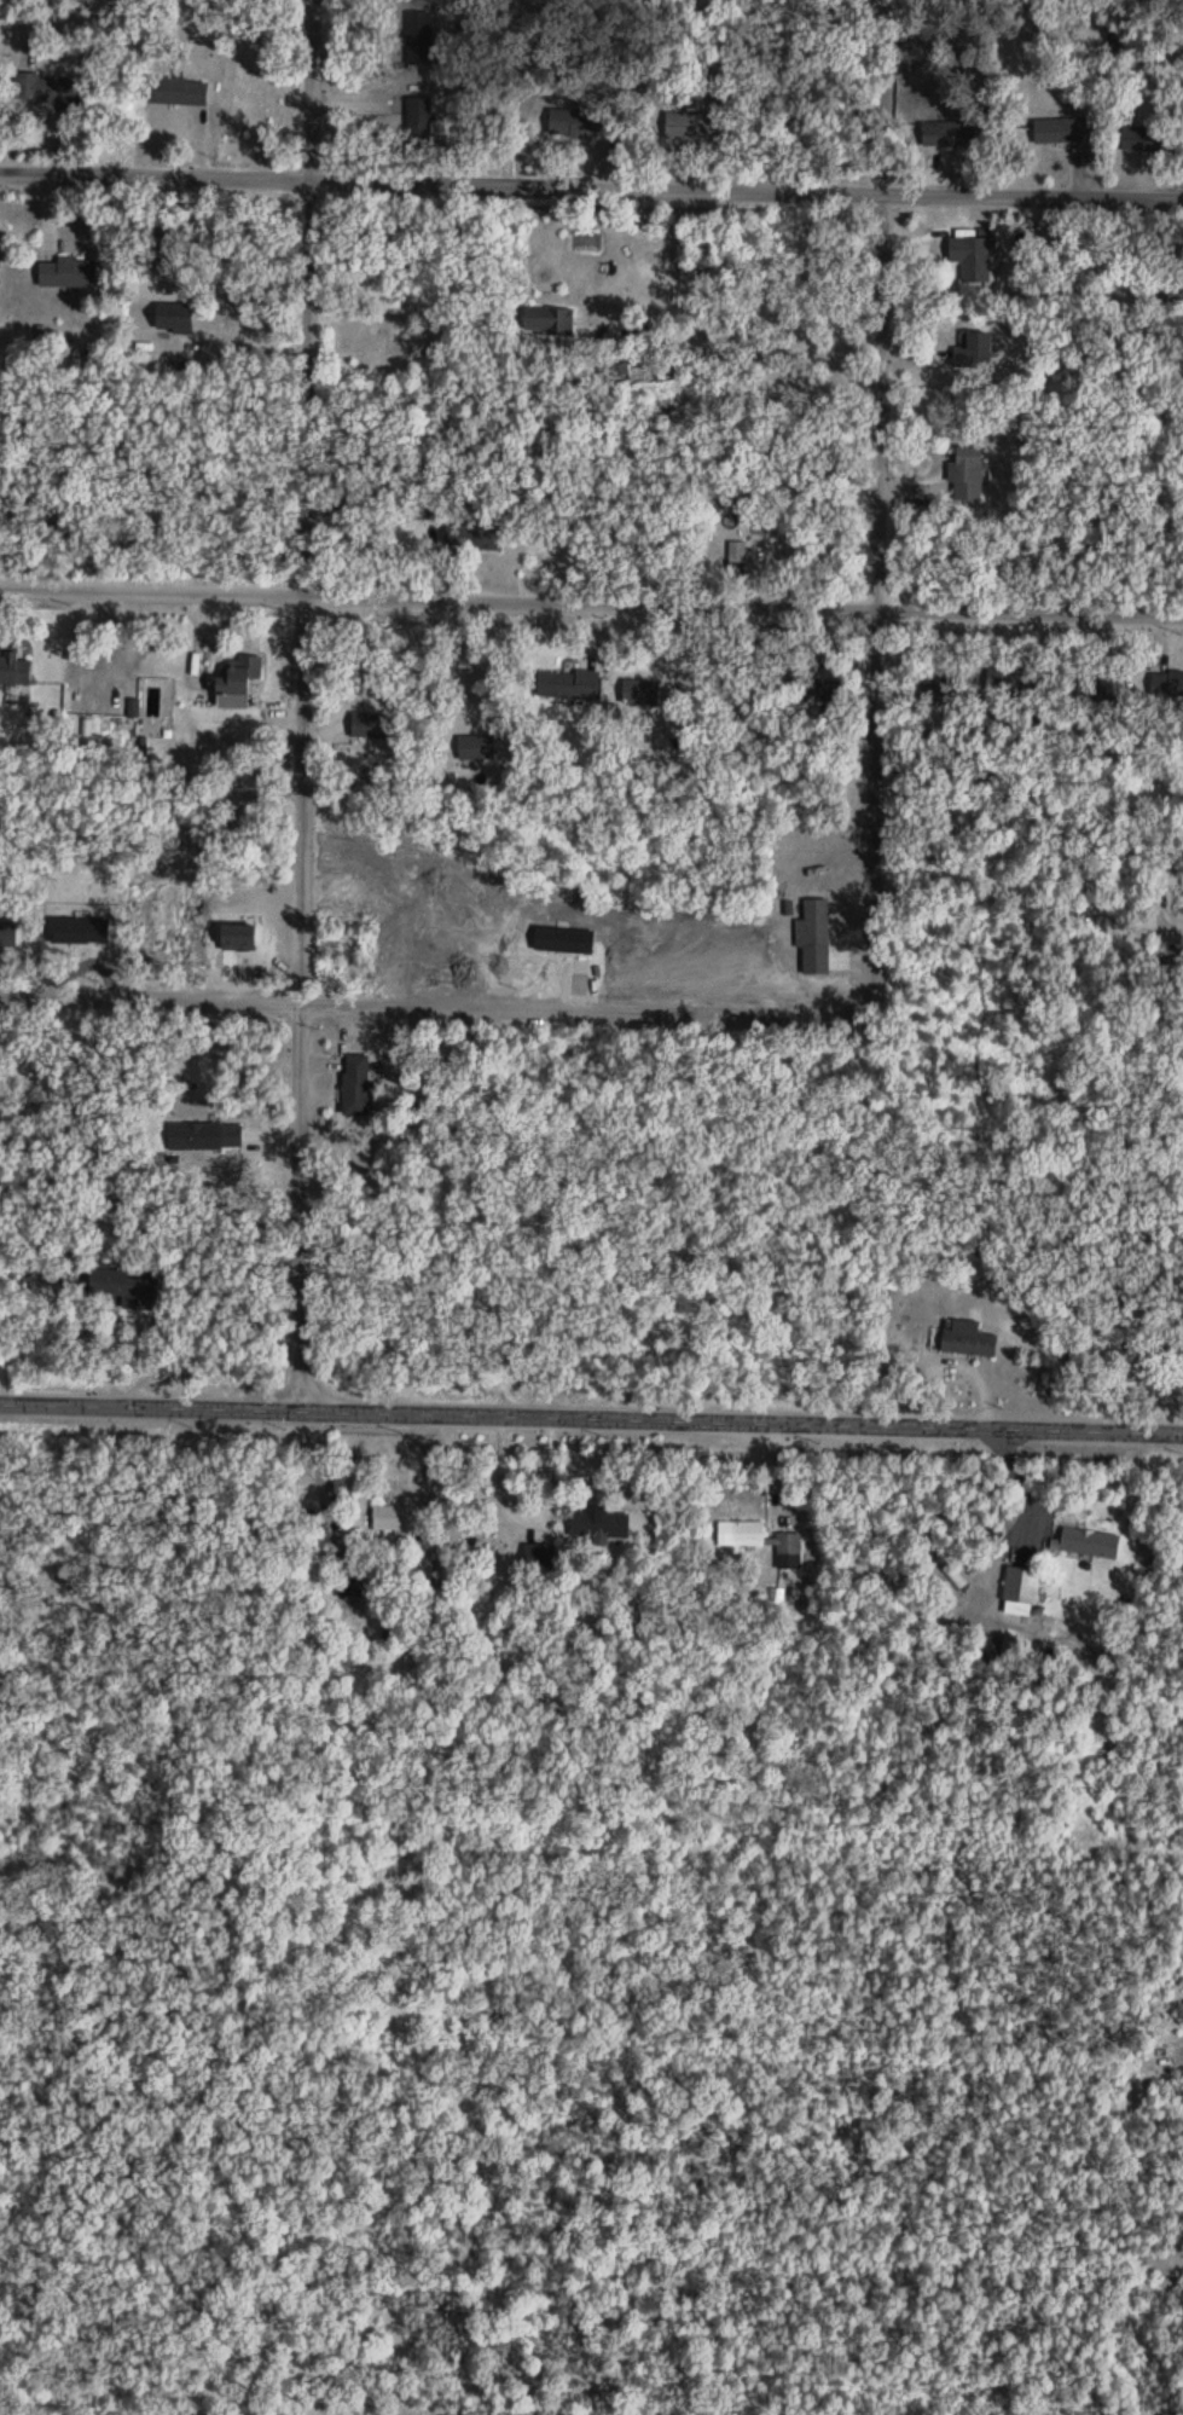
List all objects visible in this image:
building: (45, 91)
building: (178, 93)
building: (576, 124)
building: (695, 128)
building: (1062, 132)
building: (949, 135)
building: (1143, 139)
road: (591, 187)
building: (975, 259)
building: (69, 274)
building: (175, 318)
building: (550, 323)
road: (740, 325)
building: (975, 355)
building: (621, 372)
road: (877, 399)
building: (968, 477)
building: (474, 539)
building: (738, 562)
road: (591, 598)
road: (330, 658)
road: (459, 662)
building: (15, 672)
building: (236, 683)
building: (567, 688)
building: (1172, 688)
building: (934, 691)
road: (302, 705)
building: (371, 729)
building: (477, 749)
road: (874, 804)
building: (820, 942)
road: (435, 1008)
building: (356, 1085)
building: (205, 1137)
building: (109, 1285)
building: (970, 1347)
road: (174, 1405)
road: (766, 1421)
road: (527, 1511)
building: (395, 1521)
building: (599, 1528)
building: (742, 1536)
building: (790, 1545)
building: (1091, 1546)
building: (1026, 1591)

